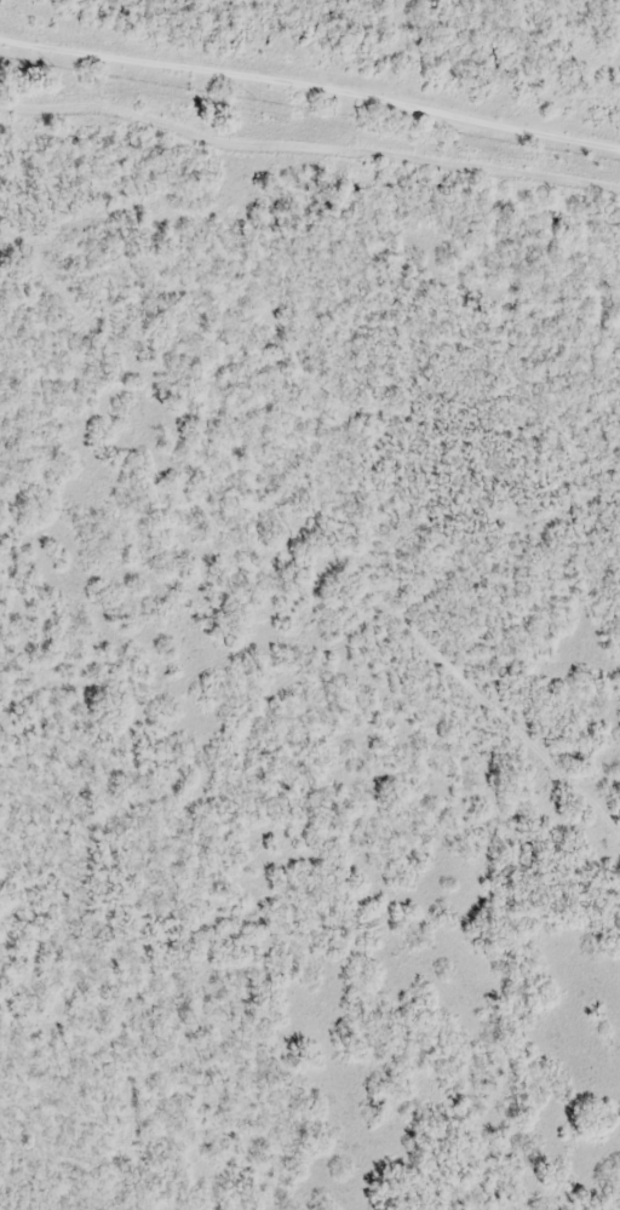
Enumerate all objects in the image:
road: (309, 92)

